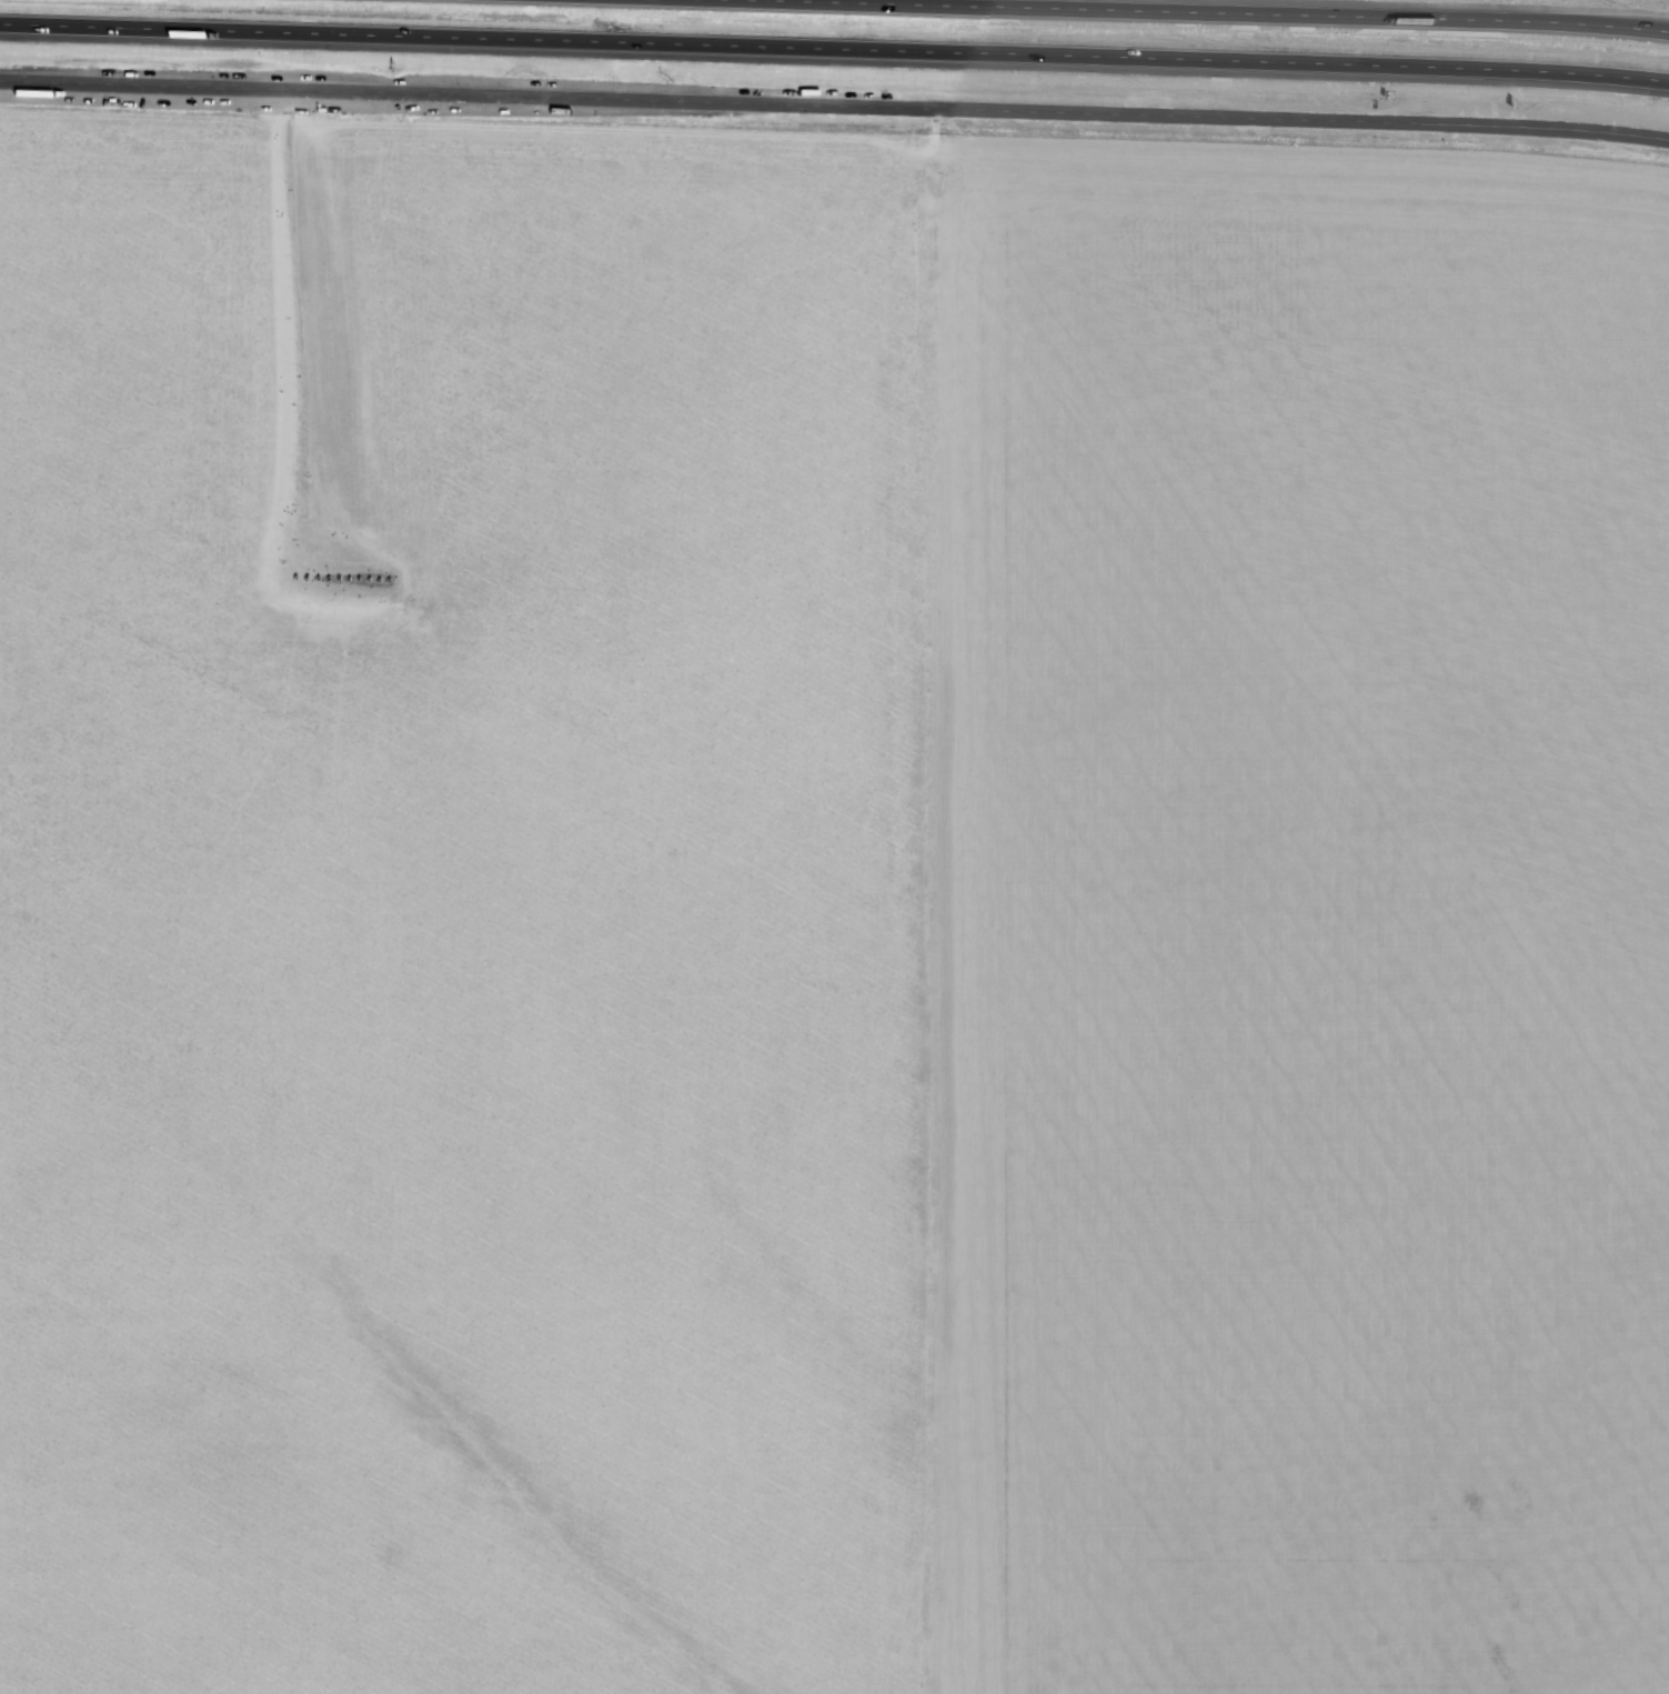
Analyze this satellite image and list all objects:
road: (1188, 13)
road: (834, 52)
road: (834, 107)
parking lot: (267, 111)
road: (328, 312)
park: (328, 435)

